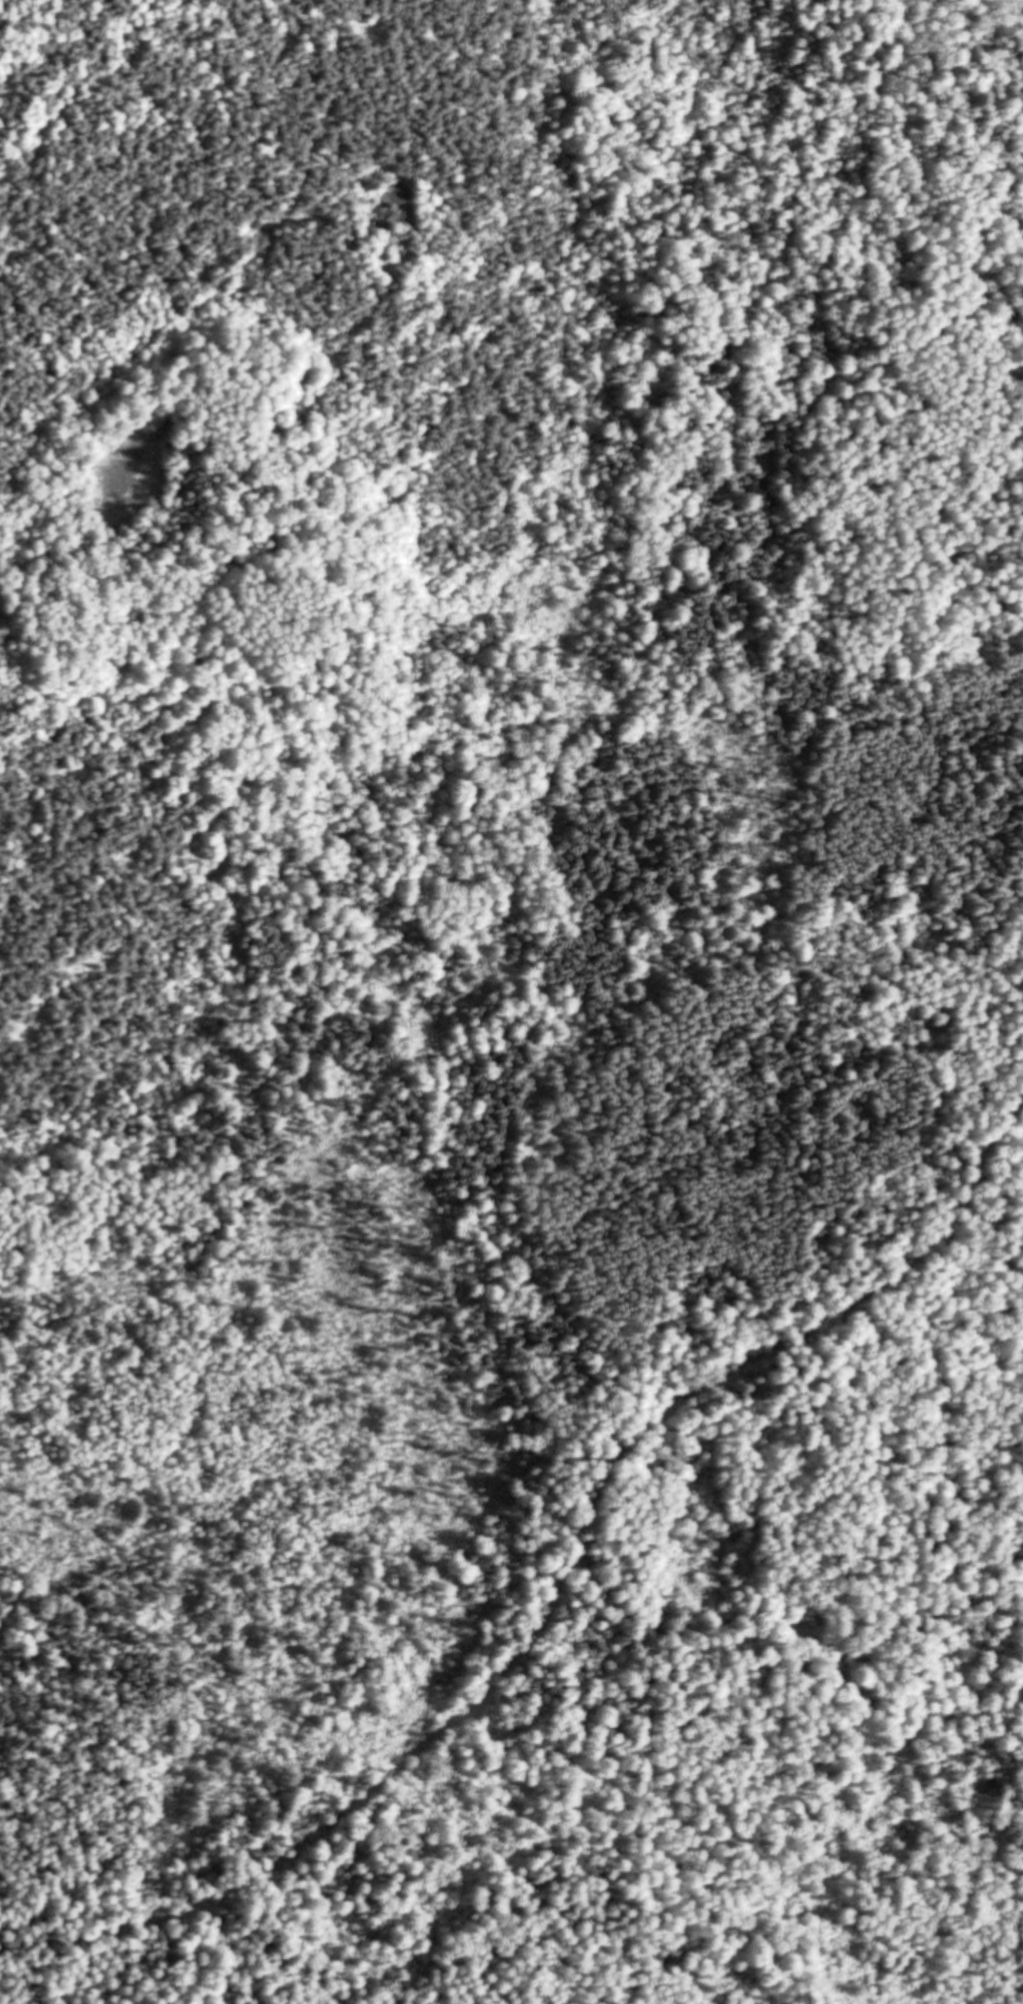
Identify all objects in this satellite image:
road: (537, 1537)

